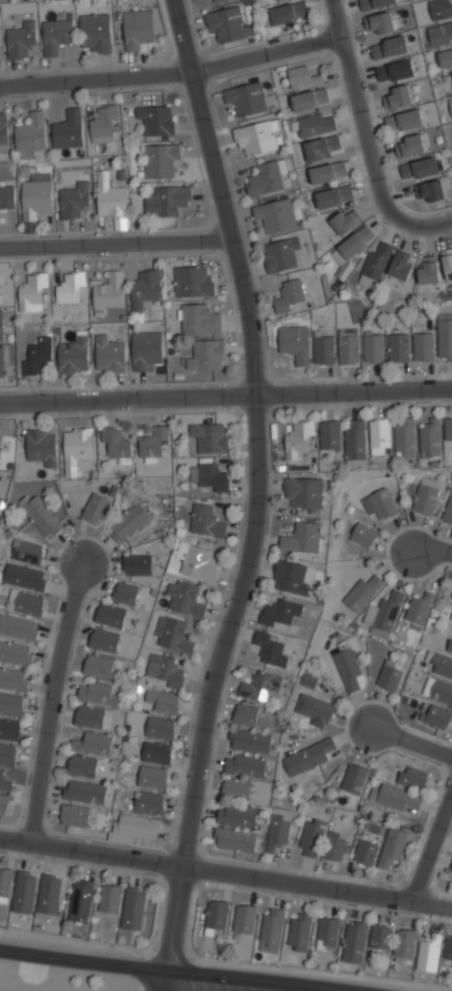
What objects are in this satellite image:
building: (277, 0)
building: (220, 1)
building: (375, 3)
building: (440, 8)
building: (289, 13)
building: (380, 22)
building: (226, 24)
building: (137, 28)
building: (96, 30)
building: (440, 32)
building: (56, 34)
building: (20, 39)
building: (389, 46)
building: (445, 58)
building: (395, 70)
road: (173, 73)
building: (303, 76)
building: (398, 96)
building: (249, 97)
building: (310, 99)
building: (451, 104)
road: (361, 112)
building: (404, 119)
building: (156, 120)
building: (316, 123)
building: (104, 124)
building: (3, 129)
building: (68, 130)
road: (220, 134)
building: (30, 135)
building: (257, 136)
building: (410, 144)
building: (321, 147)
building: (159, 161)
building: (419, 167)
building: (328, 171)
building: (265, 179)
building: (431, 189)
building: (334, 195)
building: (36, 196)
building: (7, 197)
building: (109, 198)
building: (73, 200)
building: (166, 201)
building: (275, 215)
building: (346, 221)
road: (427, 225)
road: (113, 239)
building: (357, 241)
building: (281, 254)
building: (447, 262)
building: (376, 263)
building: (401, 265)
building: (429, 270)
building: (192, 283)
building: (71, 287)
building: (32, 290)
building: (108, 290)
building: (144, 290)
building: (290, 297)
building: (199, 321)
building: (1, 325)
building: (445, 339)
building: (295, 342)
building: (423, 348)
building: (145, 349)
building: (373, 349)
building: (398, 349)
building: (323, 350)
building: (348, 350)
building: (74, 354)
building: (109, 354)
building: (38, 355)
building: (206, 356)
building: (1, 361)
road: (442, 388)
road: (216, 398)
building: (448, 428)
building: (210, 436)
building: (330, 436)
building: (378, 437)
building: (0, 438)
building: (405, 438)
building: (430, 438)
building: (355, 439)
building: (153, 440)
building: (298, 440)
building: (116, 442)
building: (41, 445)
building: (77, 445)
building: (210, 475)
building: (304, 493)
road: (260, 495)
building: (426, 495)
building: (380, 503)
building: (96, 507)
building: (448, 511)
building: (42, 516)
building: (206, 520)
building: (128, 521)
building: (363, 534)
building: (302, 538)
building: (27, 551)
road: (431, 552)
building: (137, 563)
building: (198, 564)
building: (25, 576)
building: (291, 577)
building: (450, 585)
building: (125, 592)
building: (362, 593)
building: (184, 599)
building: (451, 599)
building: (27, 603)
building: (418, 609)
building: (281, 612)
building: (110, 613)
building: (386, 615)
building: (18, 626)
building: (172, 635)
building: (104, 639)
building: (450, 645)
building: (271, 648)
building: (15, 653)
building: (441, 663)
building: (98, 664)
building: (347, 665)
building: (164, 670)
building: (389, 677)
building: (13, 678)
building: (308, 679)
building: (260, 687)
building: (438, 690)
building: (96, 691)
road: (50, 701)
building: (164, 701)
building: (11, 703)
building: (313, 709)
building: (89, 715)
building: (245, 715)
building: (436, 716)
building: (160, 727)
building: (9, 728)
building: (249, 741)
road: (411, 741)
building: (93, 742)
building: (156, 752)
building: (7, 753)
building: (308, 756)
building: (82, 765)
building: (245, 766)
building: (153, 777)
building: (354, 778)
building: (413, 778)
building: (3, 781)
building: (236, 788)
building: (84, 791)
building: (396, 798)
building: (4, 802)
building: (148, 802)
building: (74, 815)
building: (236, 815)
building: (138, 825)
building: (278, 829)
building: (312, 837)
building: (234, 839)
building: (335, 846)
building: (393, 847)
road: (432, 847)
building: (365, 853)
road: (437, 866)
building: (451, 869)
road: (225, 873)
building: (5, 884)
building: (24, 891)
building: (49, 893)
building: (109, 899)
building: (81, 902)
building: (133, 908)
building: (215, 917)
building: (245, 918)
building: (272, 930)
building: (299, 932)
building: (327, 932)
building: (380, 938)
building: (354, 943)
building: (404, 943)
building: (448, 948)
building: (429, 954)
road: (175, 970)
road: (161, 980)
road: (291, 989)

